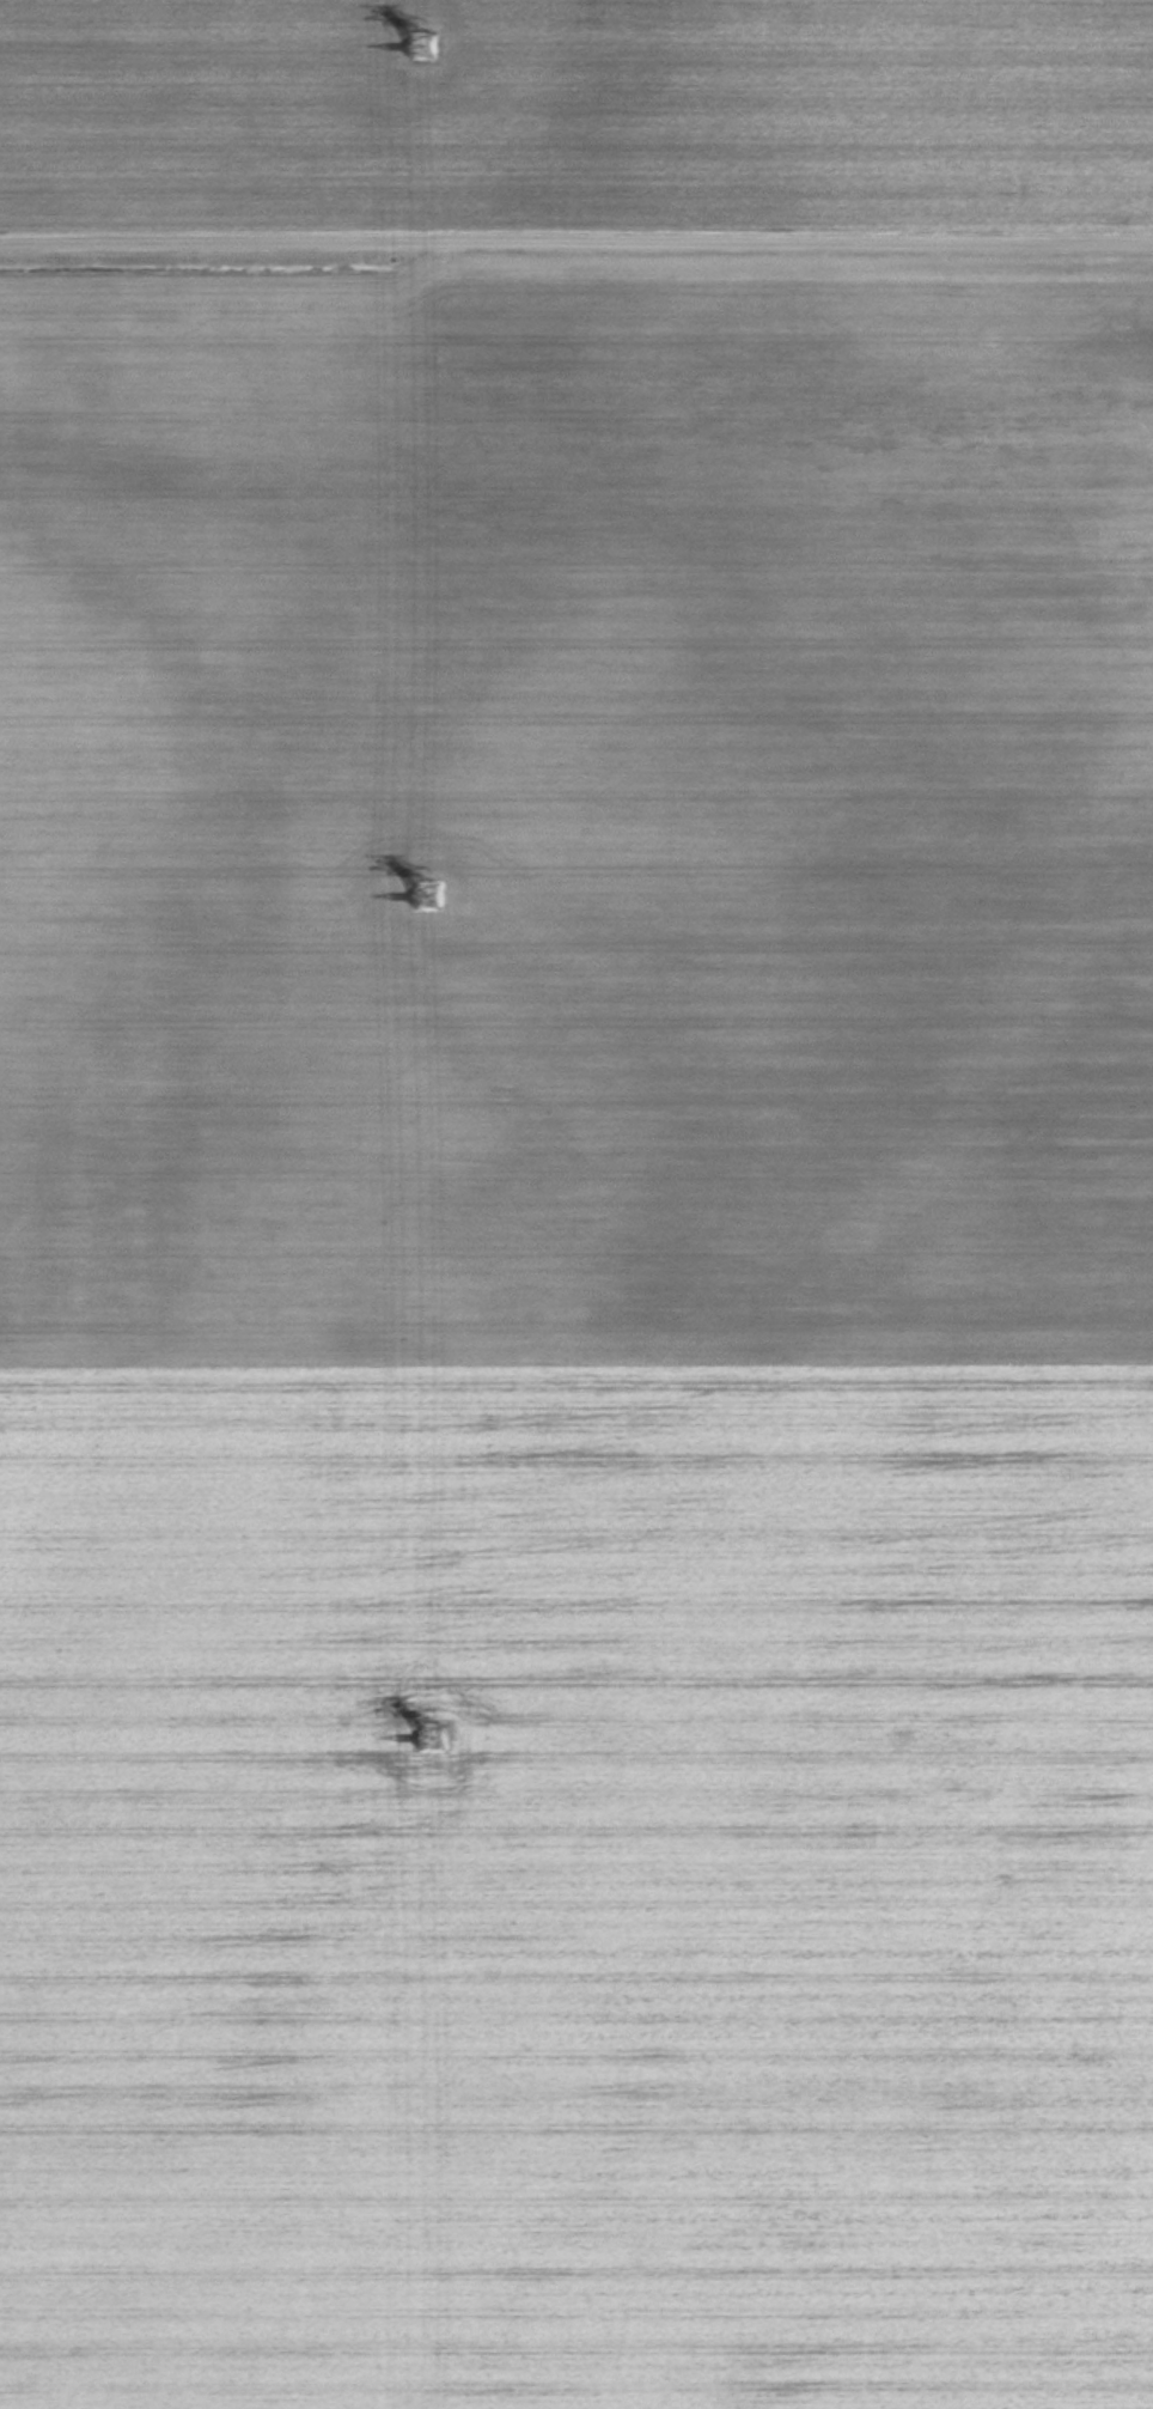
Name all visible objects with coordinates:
power tower: (423, 41)
road: (576, 245)
power tower: (432, 893)
power tower: (429, 1736)

